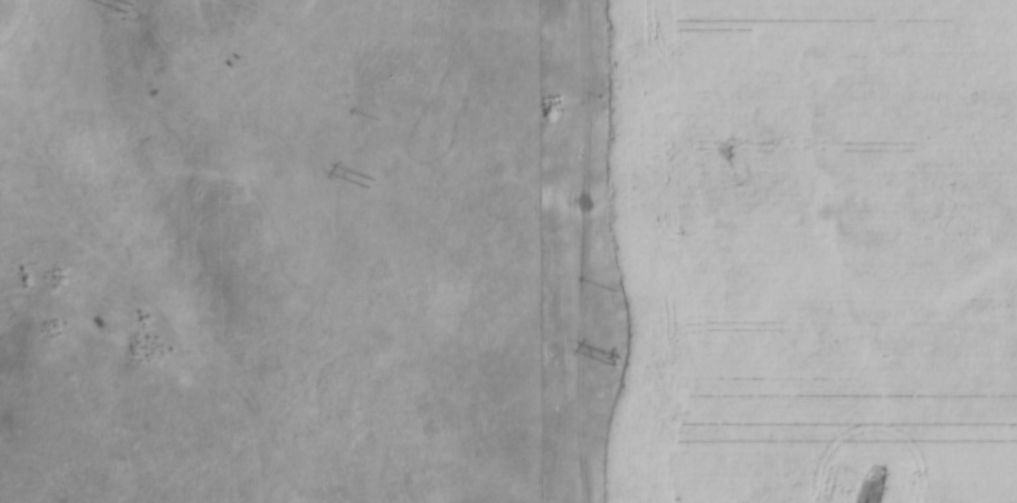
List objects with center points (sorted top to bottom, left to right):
road: (570, 251)

